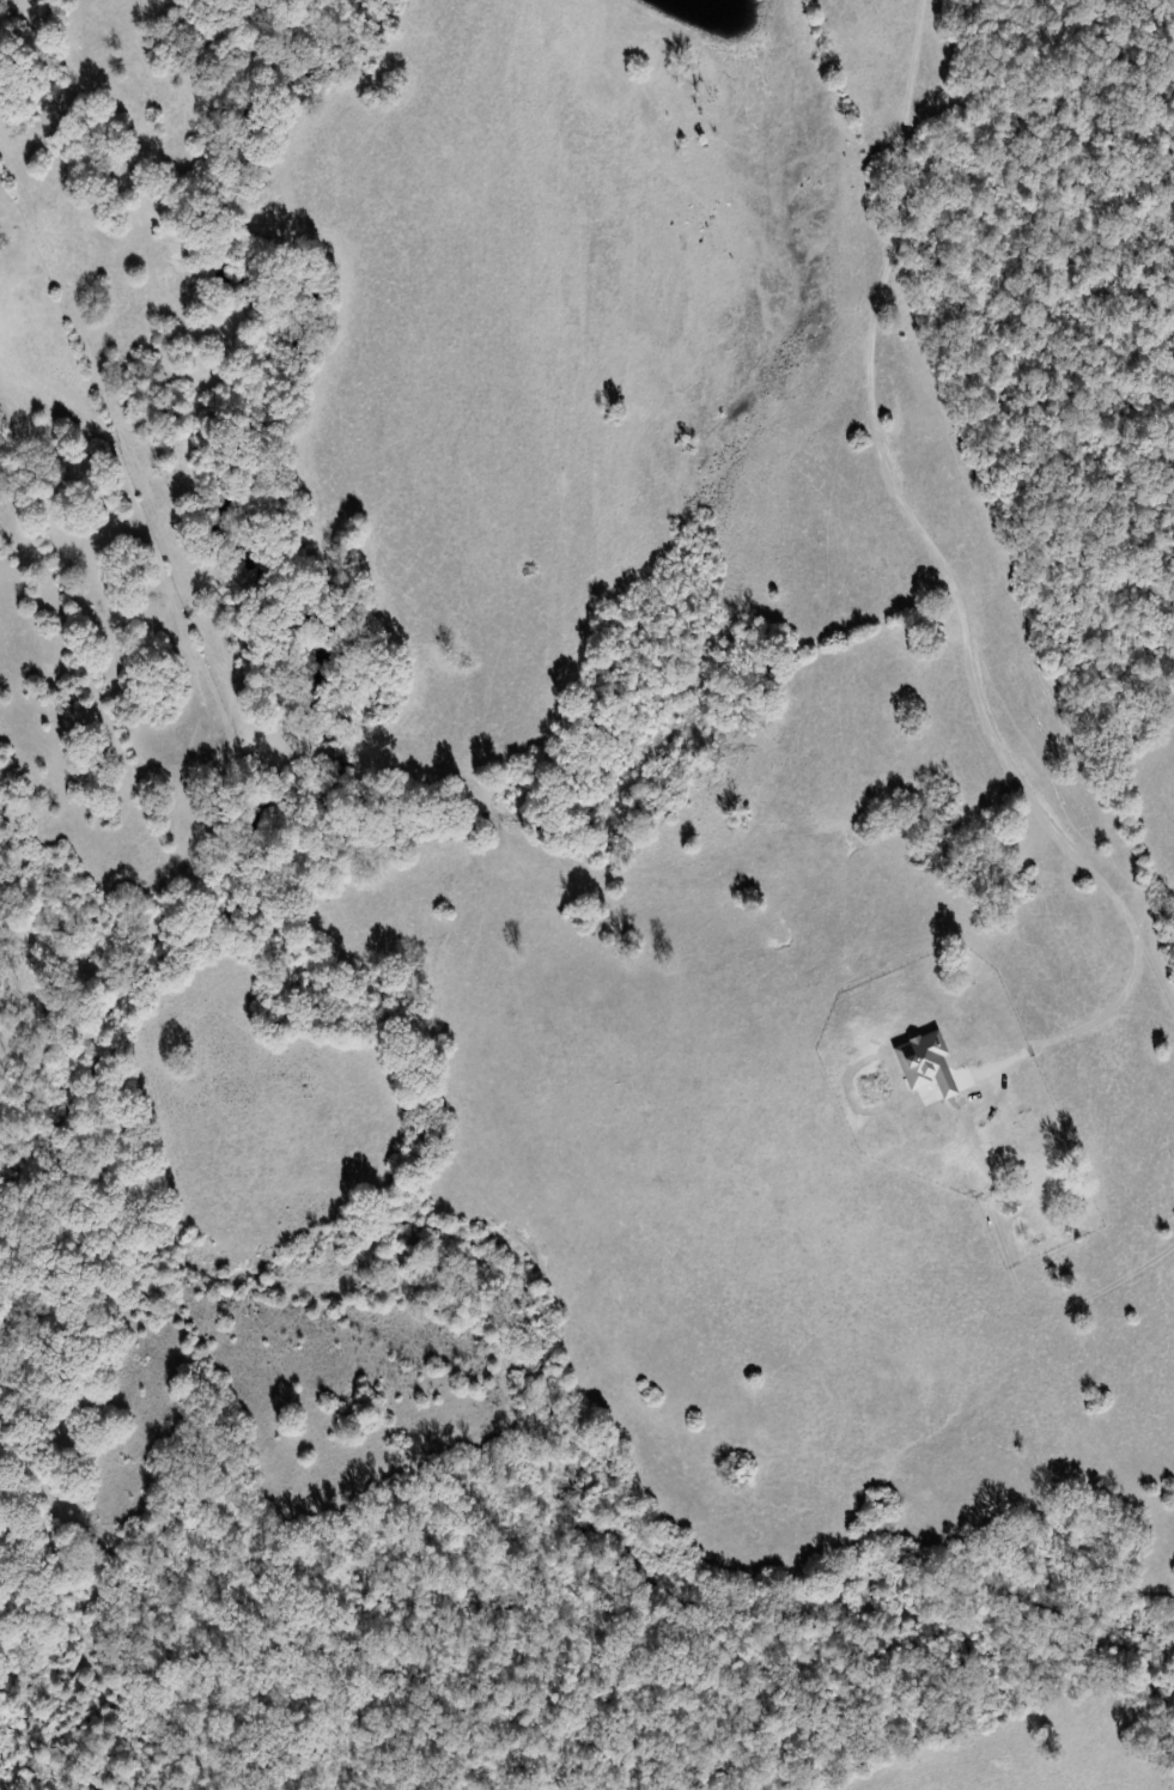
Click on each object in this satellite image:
road: (956, 599)

